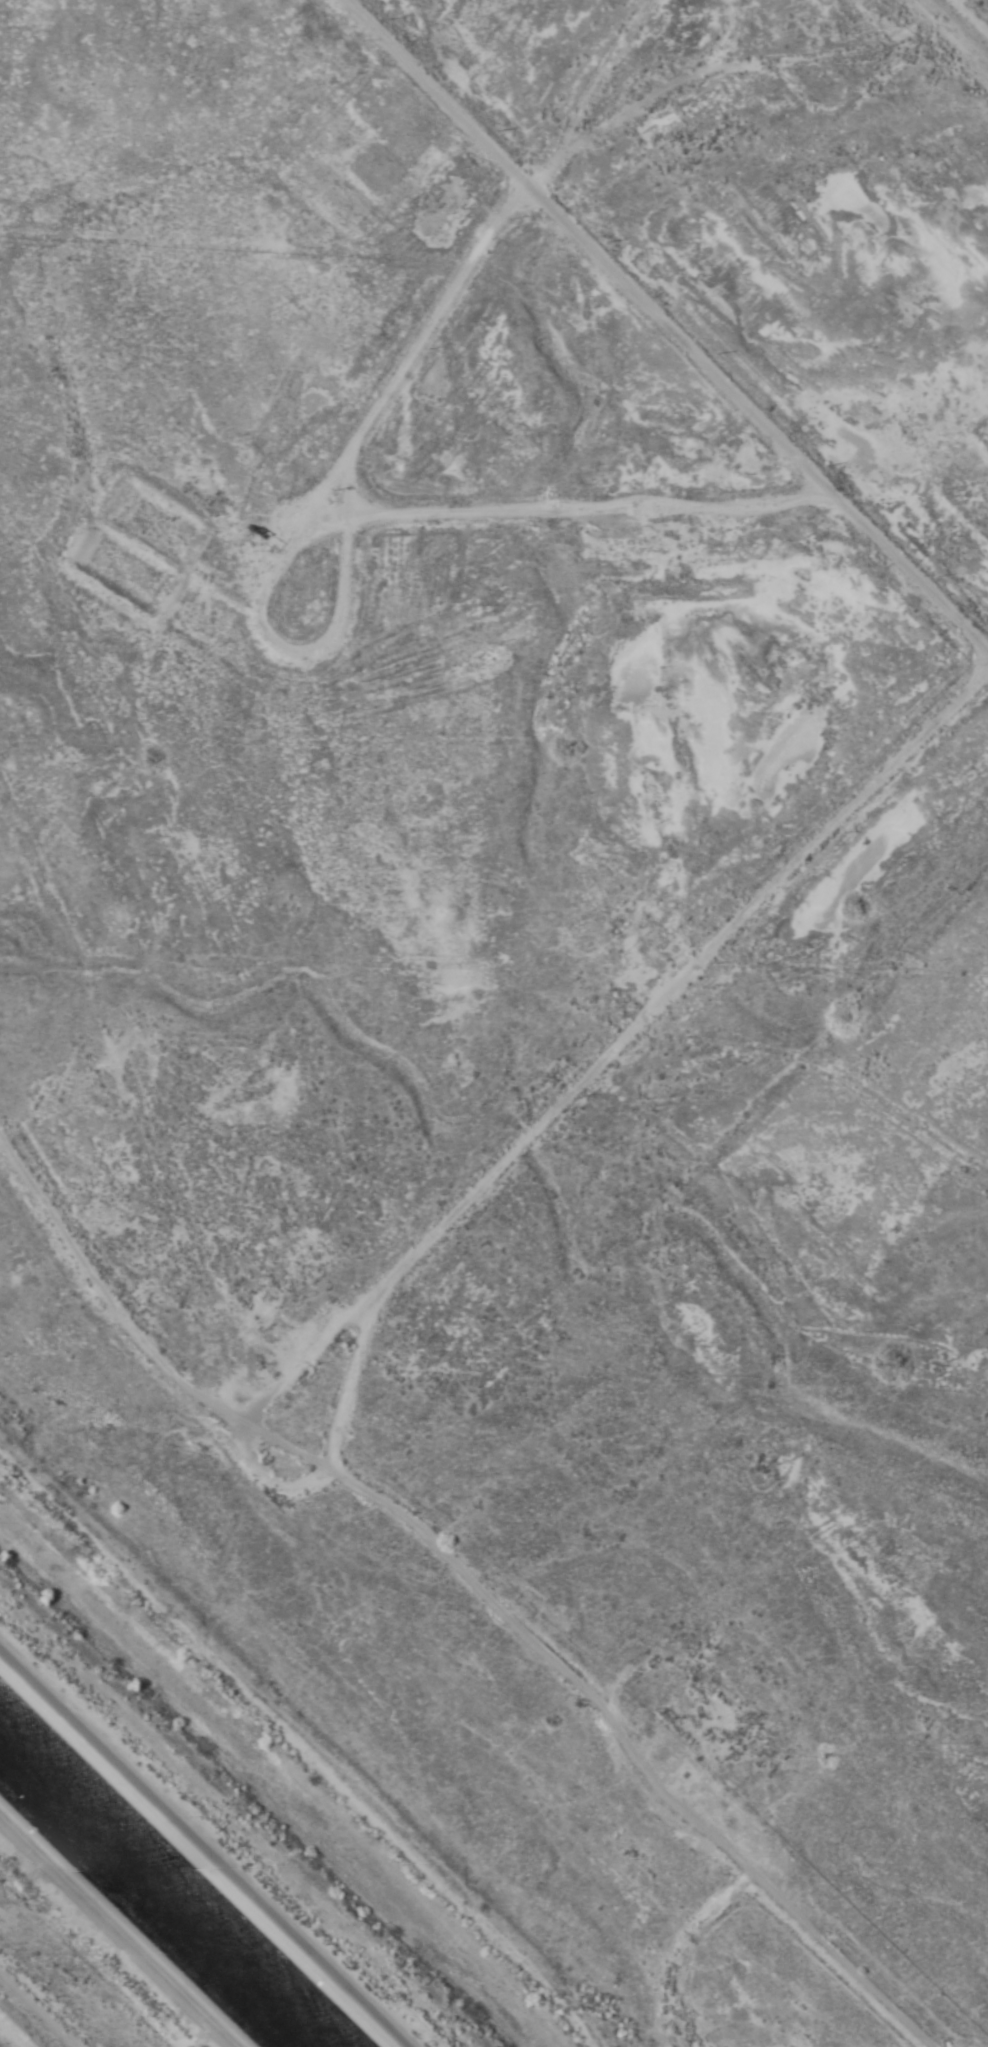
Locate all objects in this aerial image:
road: (434, 87)
road: (590, 246)
road: (453, 1193)
road: (631, 1746)
road: (221, 1824)
road: (112, 1939)
road: (38, 2010)
road: (10, 2036)

